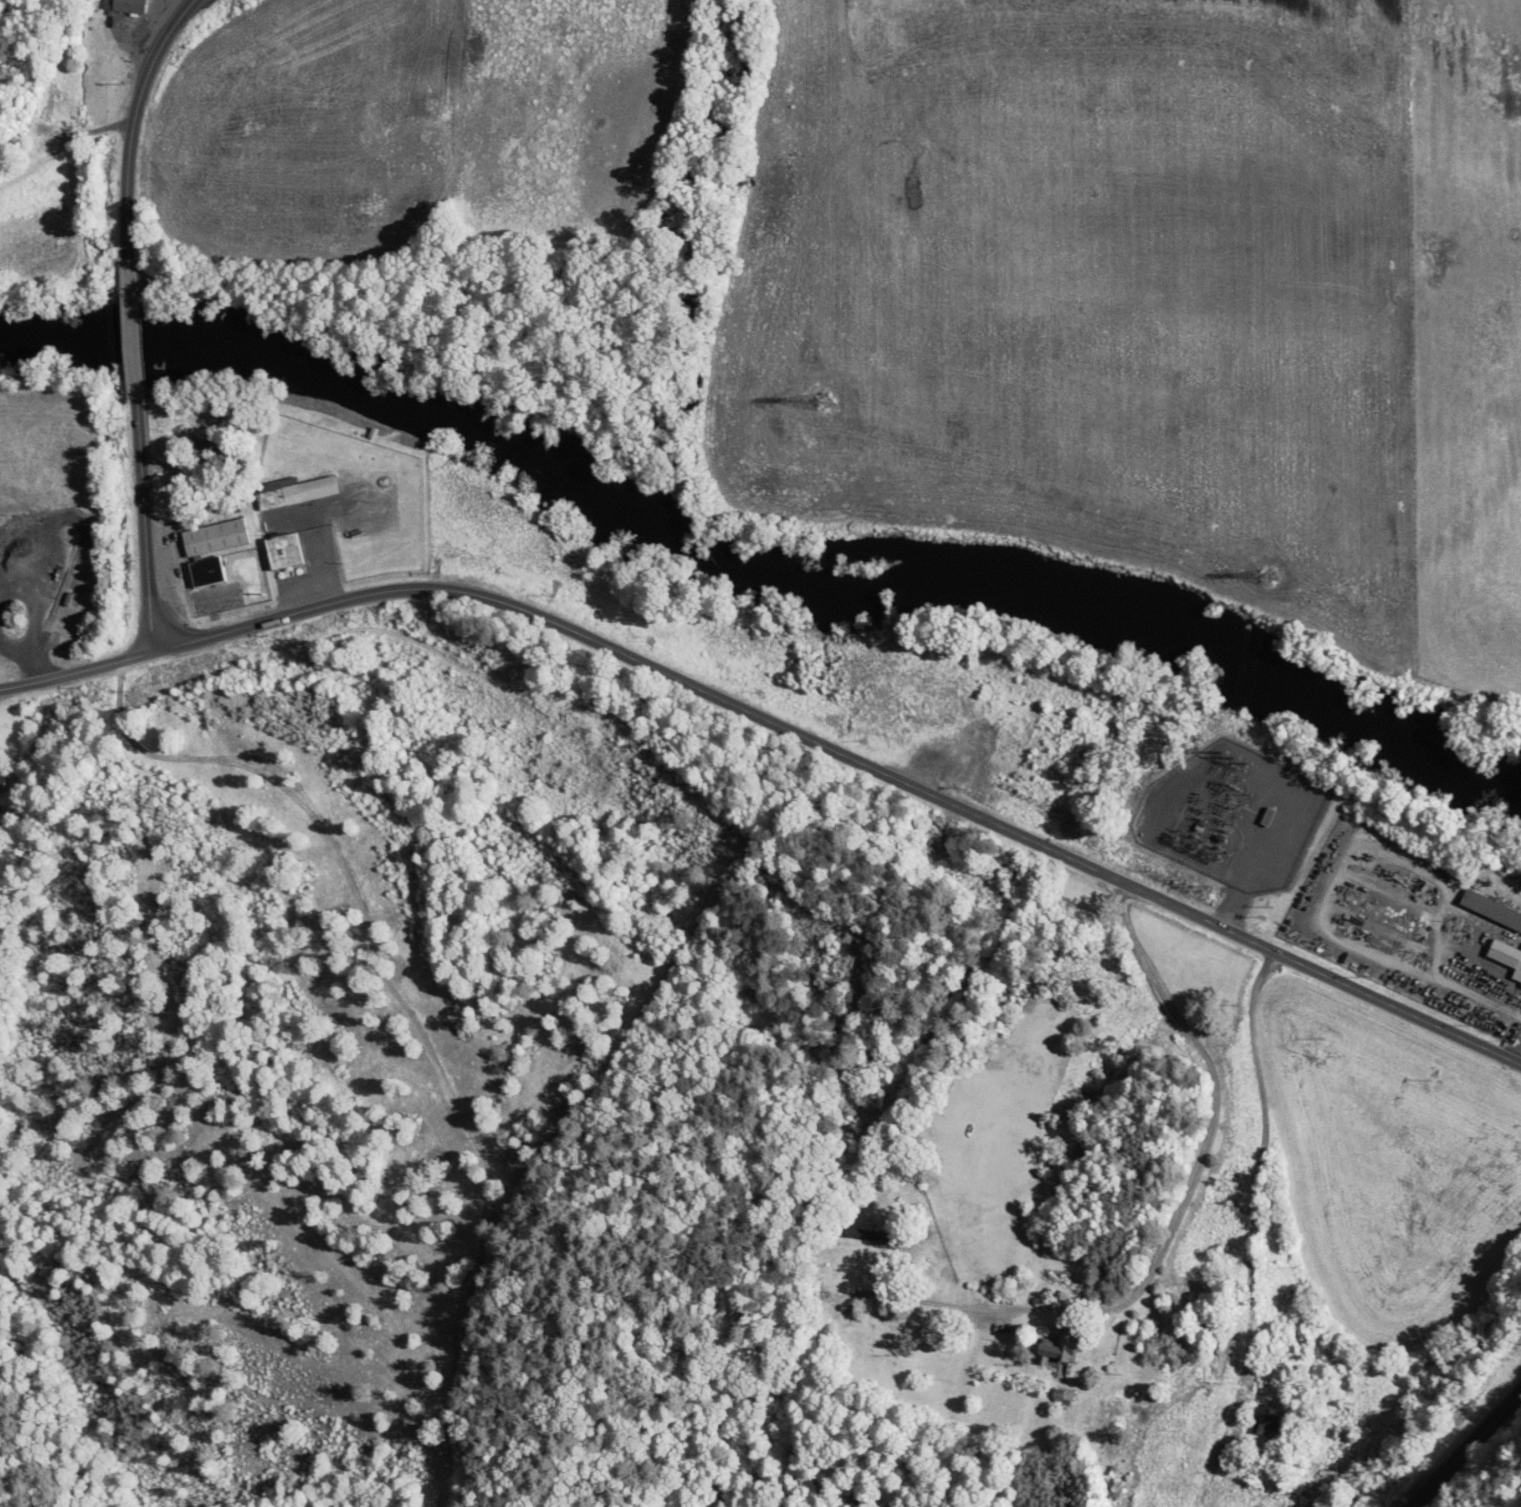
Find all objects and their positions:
building: (134, 6)
building: (56, 105)
road: (132, 120)
road: (84, 131)
road: (37, 161)
road: (132, 327)
power tower: (826, 397)
building: (297, 491)
road: (144, 523)
building: (219, 537)
building: (286, 550)
river: (758, 557)
road: (38, 566)
building: (210, 571)
power tower: (1265, 571)
road: (10, 591)
road: (11, 643)
road: (76, 670)
road: (848, 754)
building: (4, 782)
power substation: (1231, 814)
building: (1266, 814)
building: (1254, 835)
building: (1490, 909)
building: (1520, 983)
building: (844, 1122)
road: (1259, 1176)
road: (1179, 1198)
building: (865, 1233)
building: (1053, 1345)
building: (1059, 1394)
building: (1264, 1424)
road: (1462, 1444)

